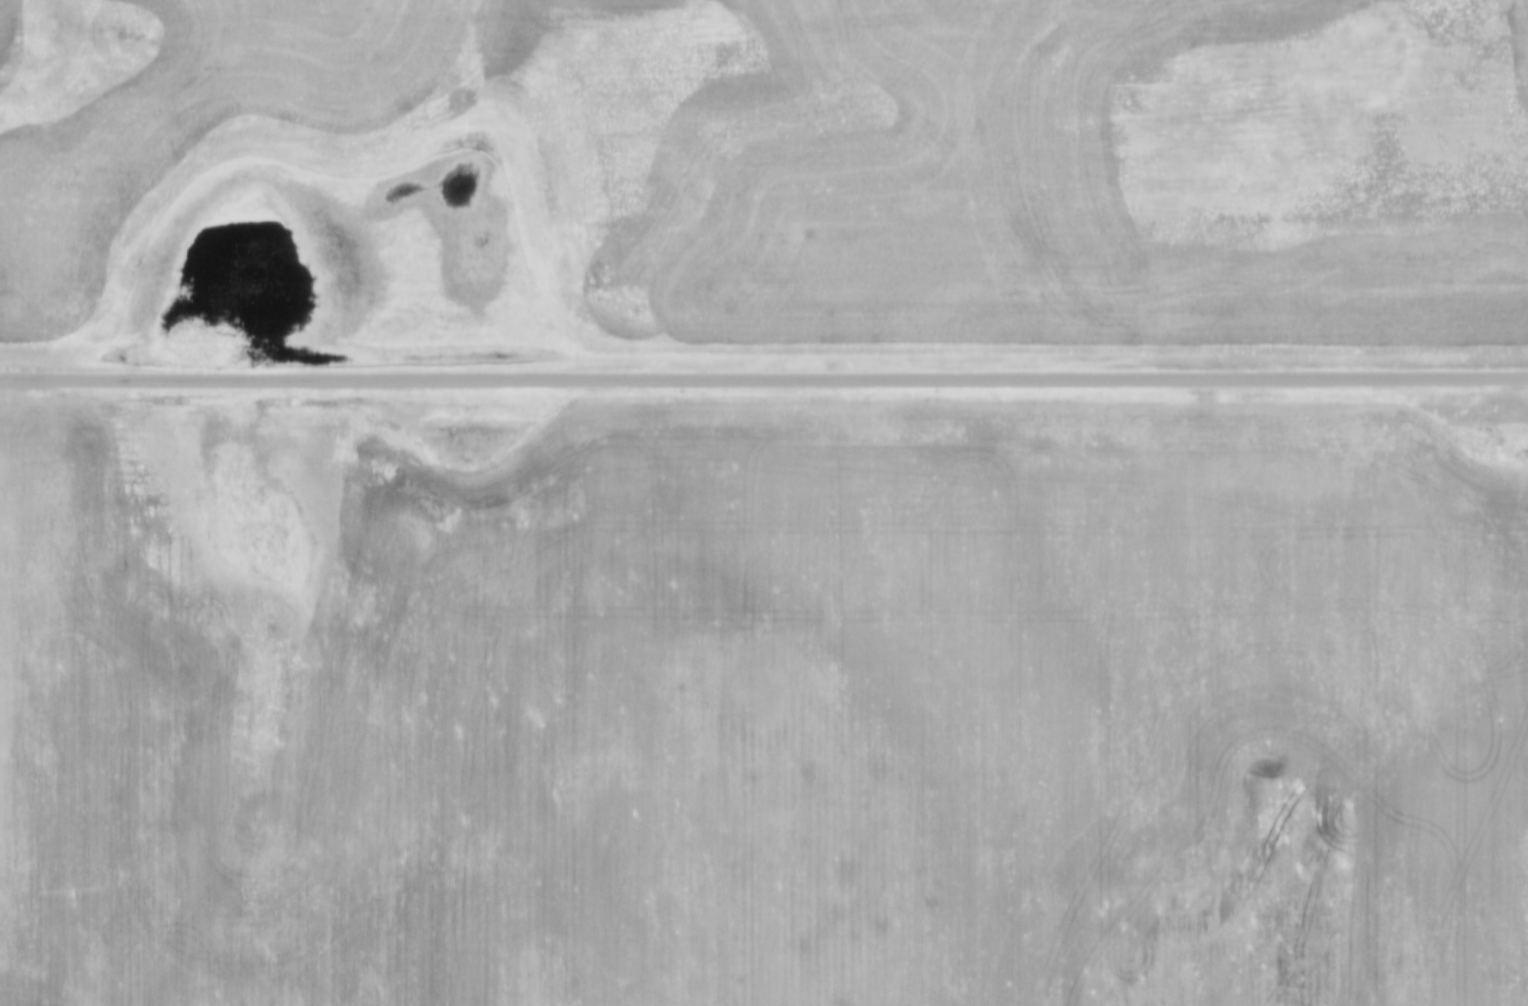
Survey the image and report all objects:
road: (763, 376)

